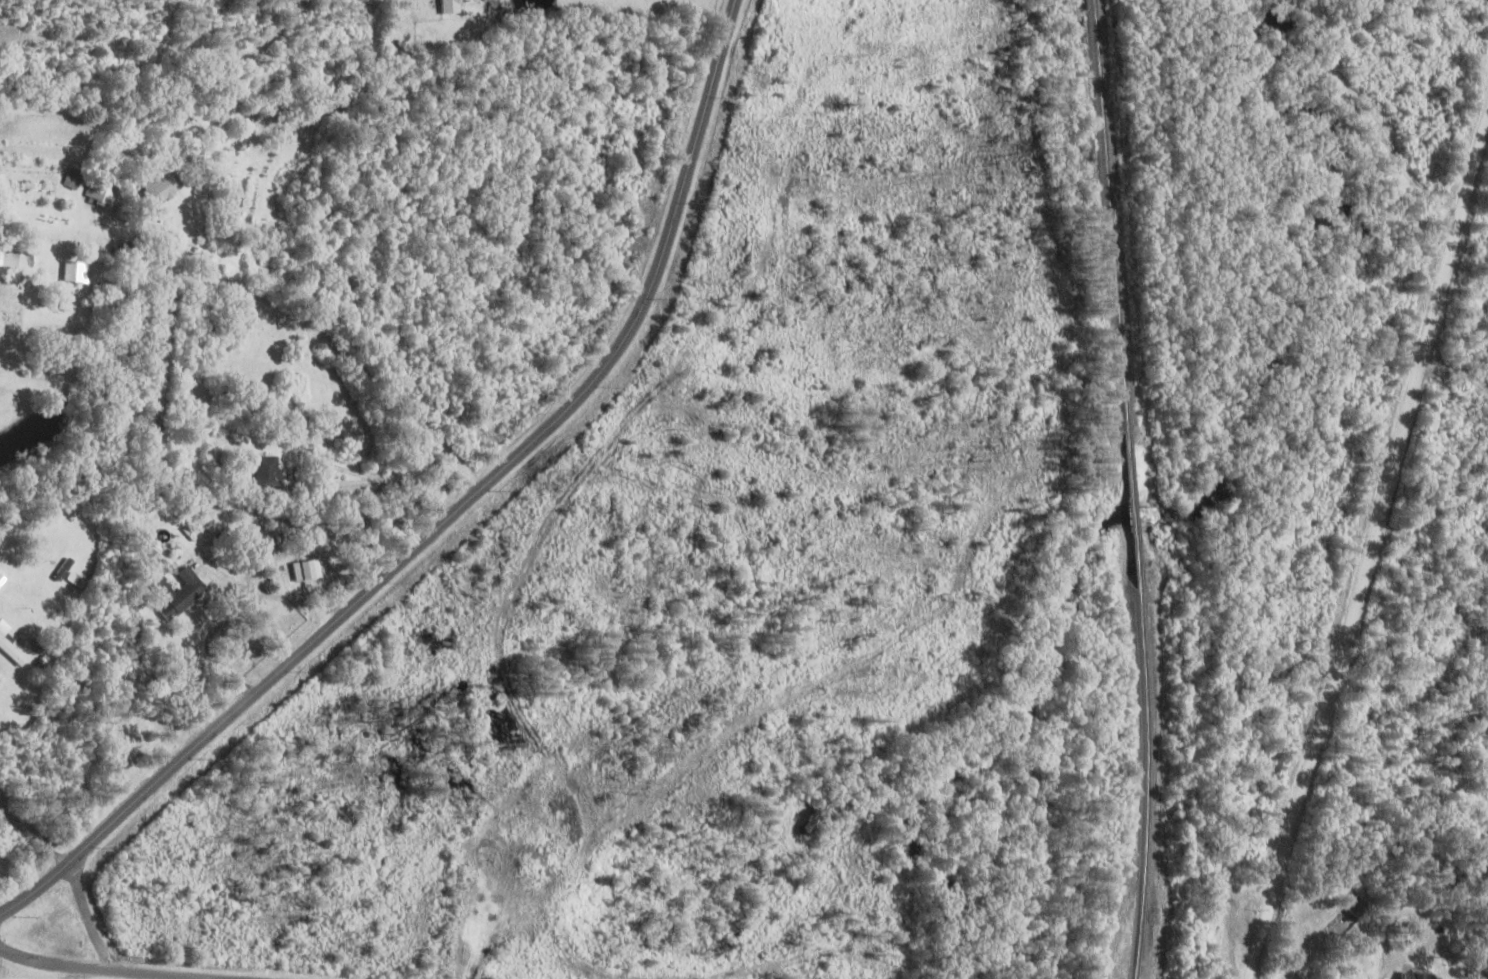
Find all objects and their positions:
building: (452, 6)
building: (75, 178)
building: (164, 187)
building: (103, 189)
railway: (1115, 216)
building: (10, 257)
building: (78, 270)
road: (325, 339)
building: (270, 470)
road: (486, 485)
railway: (1136, 510)
river: (1198, 515)
road: (1371, 567)
building: (182, 593)
building: (11, 645)
railway: (1150, 784)
road: (35, 829)
road: (36, 889)
road: (91, 919)
road: (109, 968)
building: (1419, 975)

